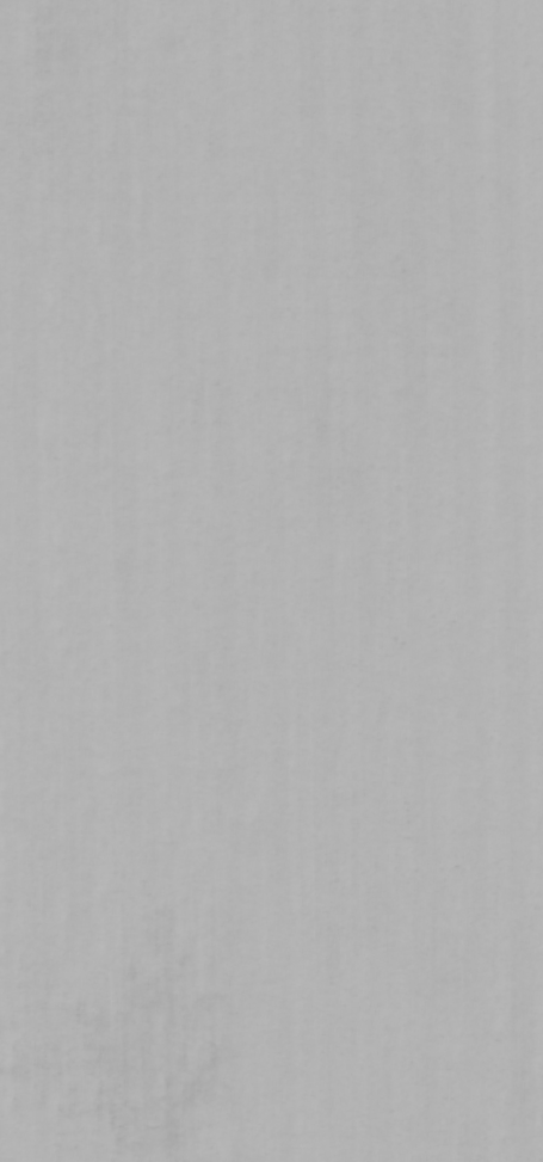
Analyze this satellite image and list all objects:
crop: (271, 580)

